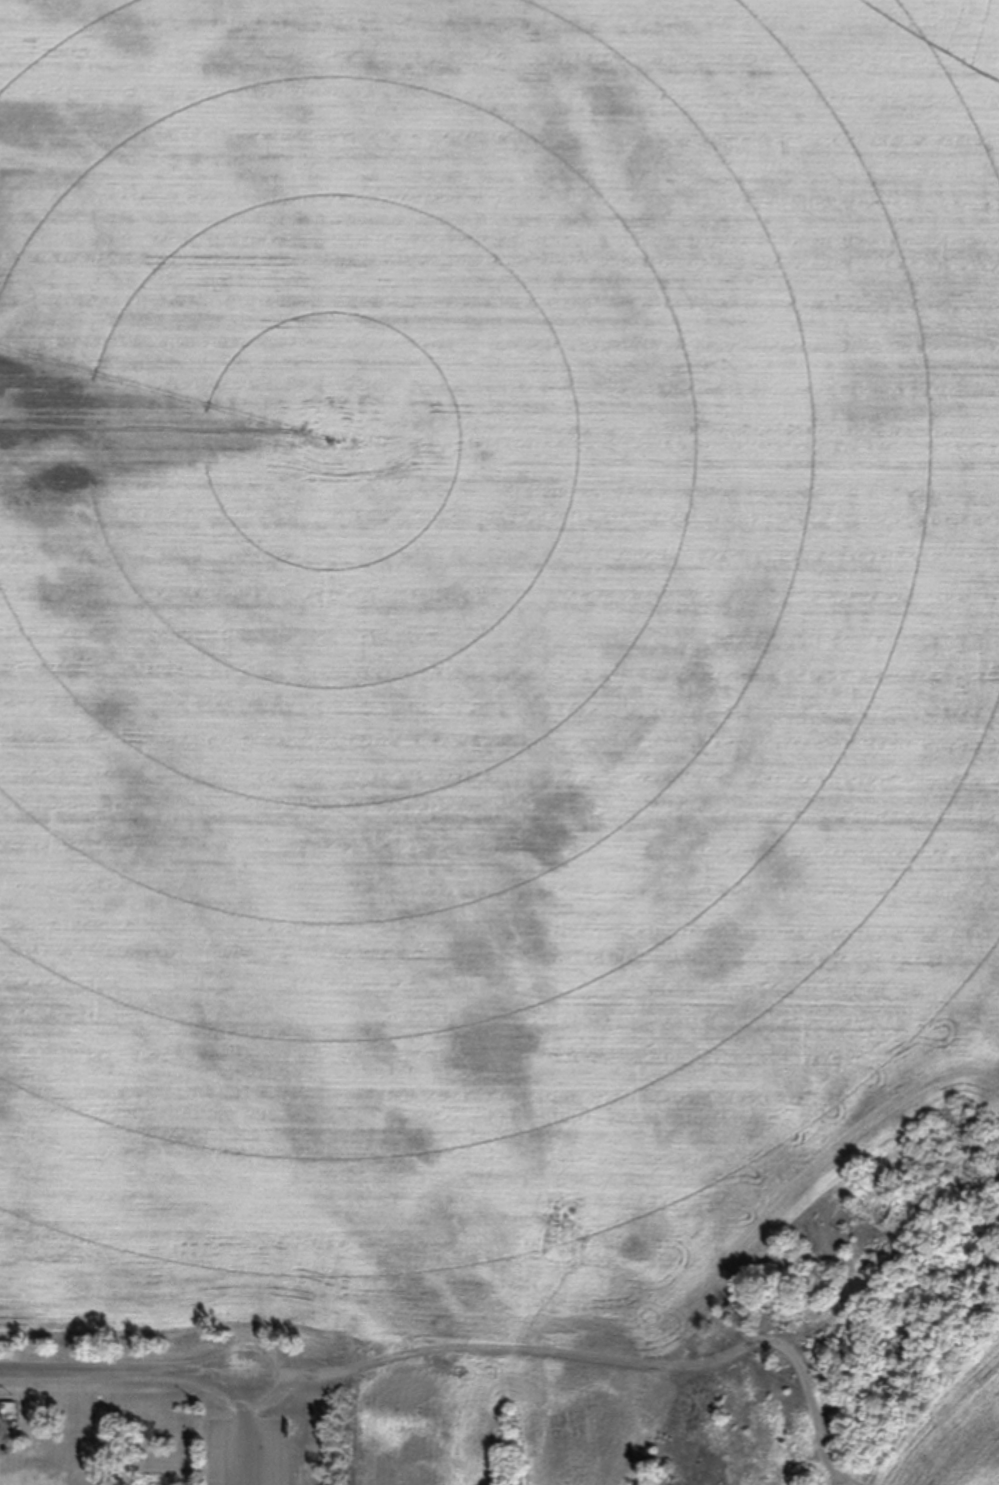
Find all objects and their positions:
crop: (485, 677)
road: (599, 1361)
road: (125, 1376)
crop: (950, 1430)
road: (250, 1432)

